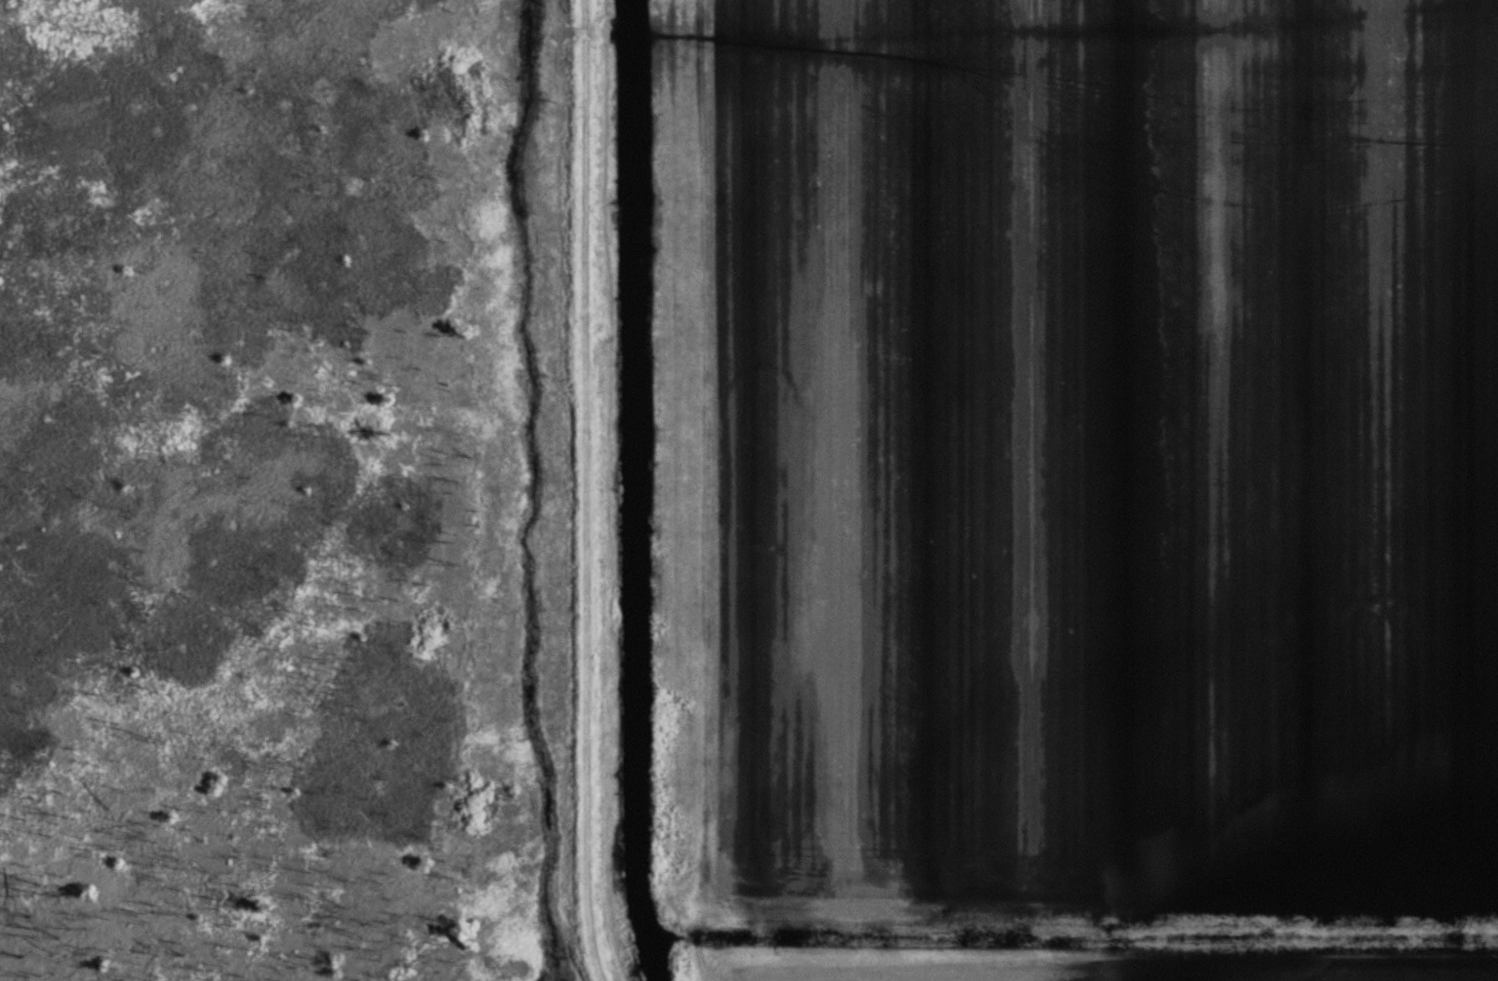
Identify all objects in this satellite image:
road: (580, 492)

